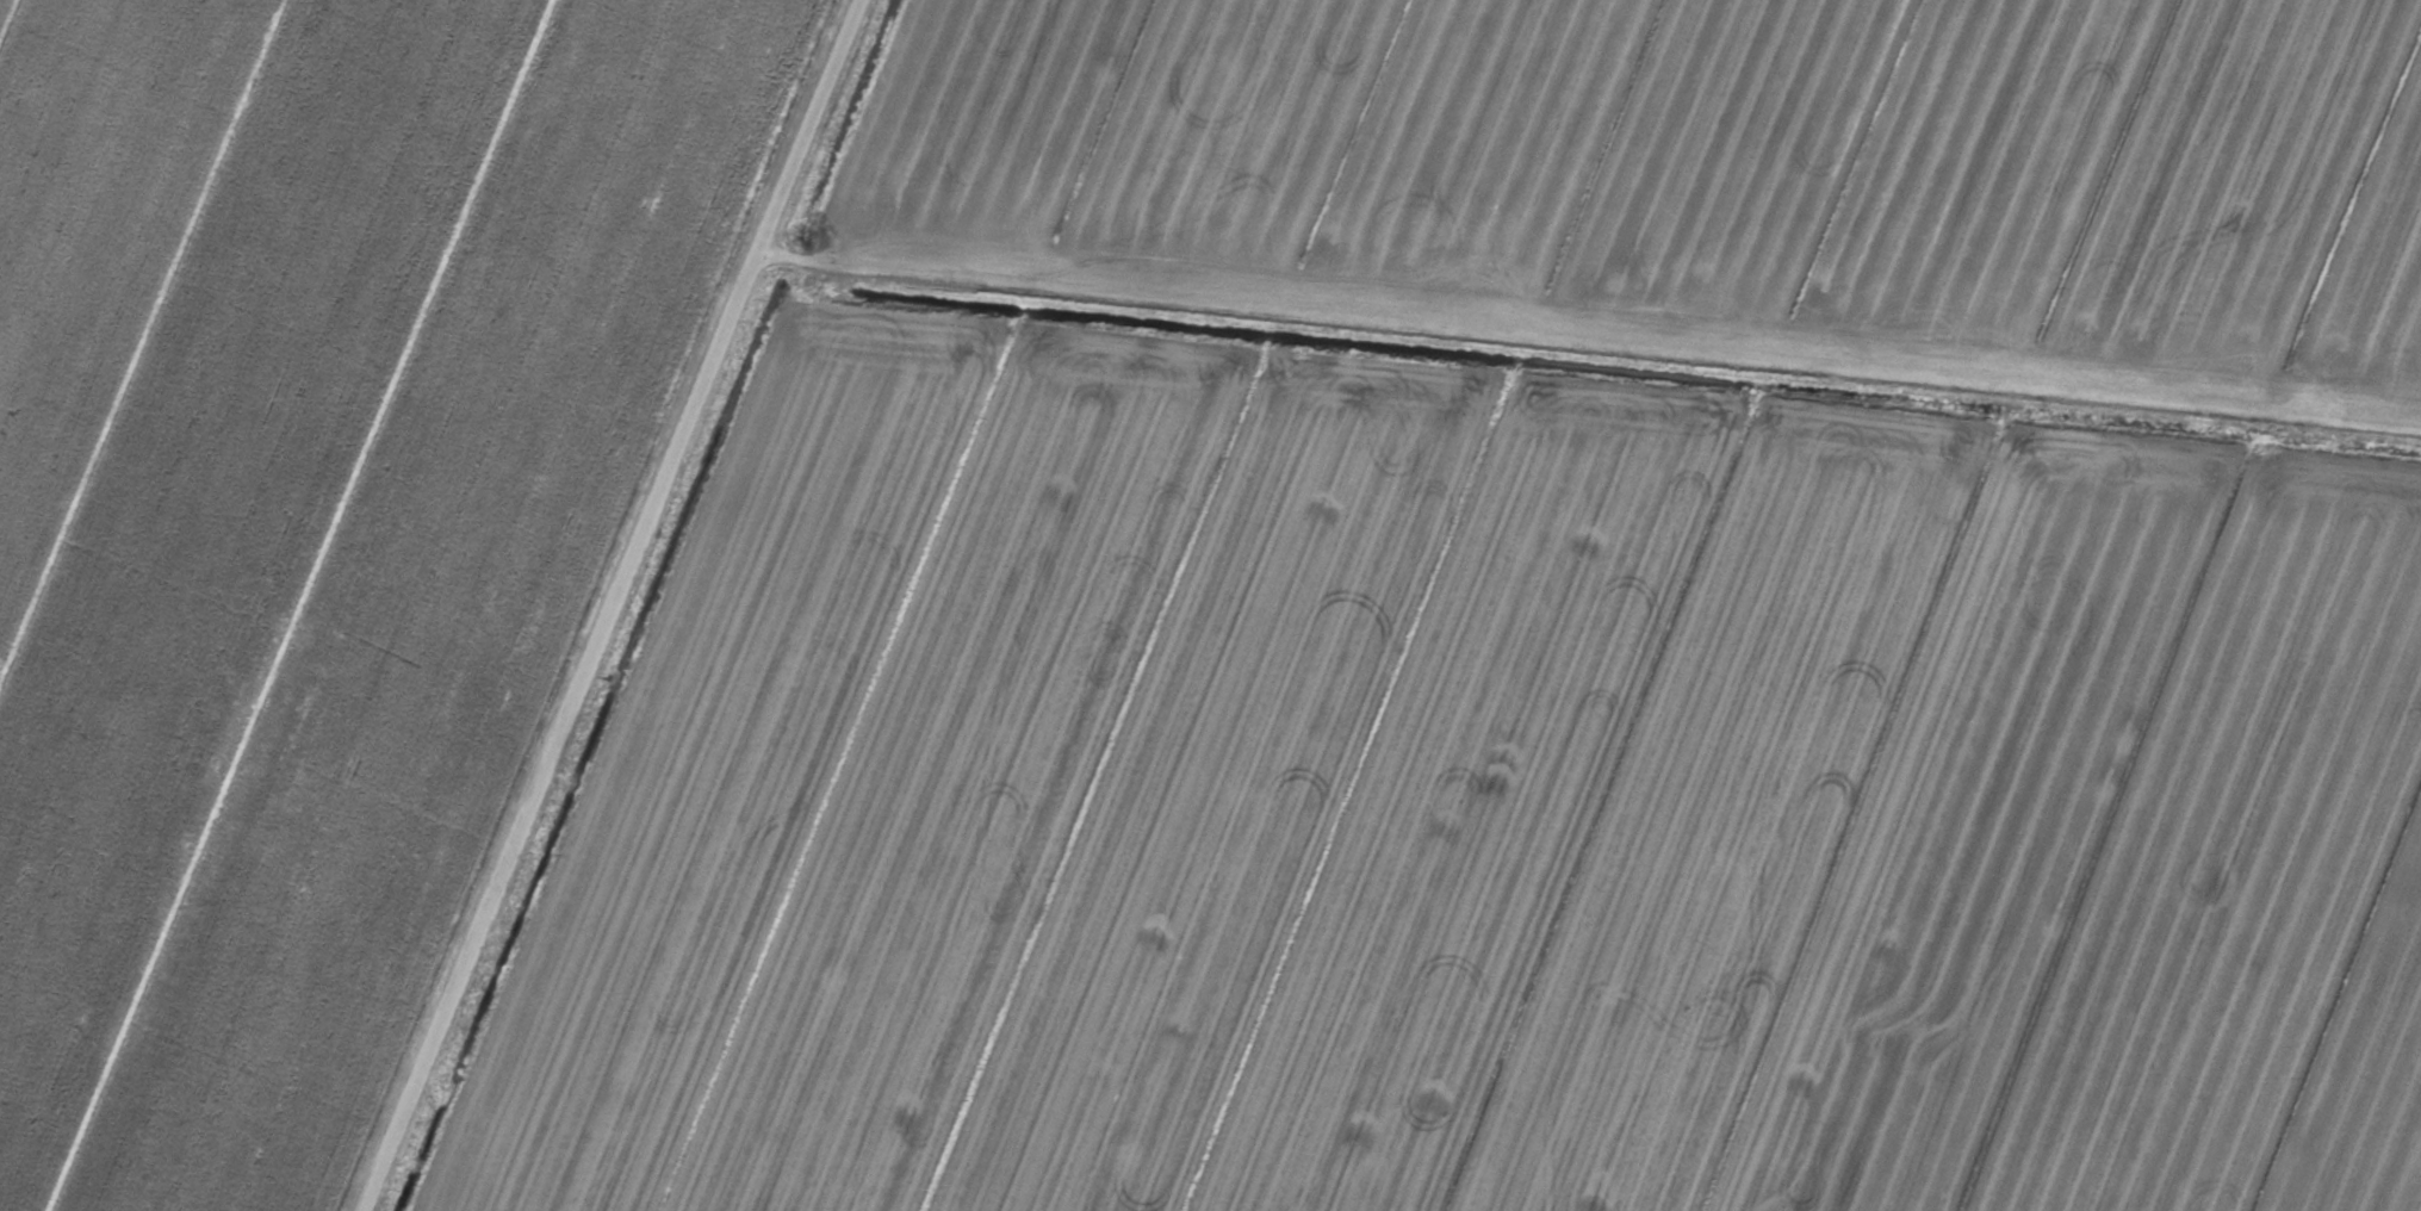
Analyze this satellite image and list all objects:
road: (1591, 337)
road: (616, 605)
crop: (1210, 605)

